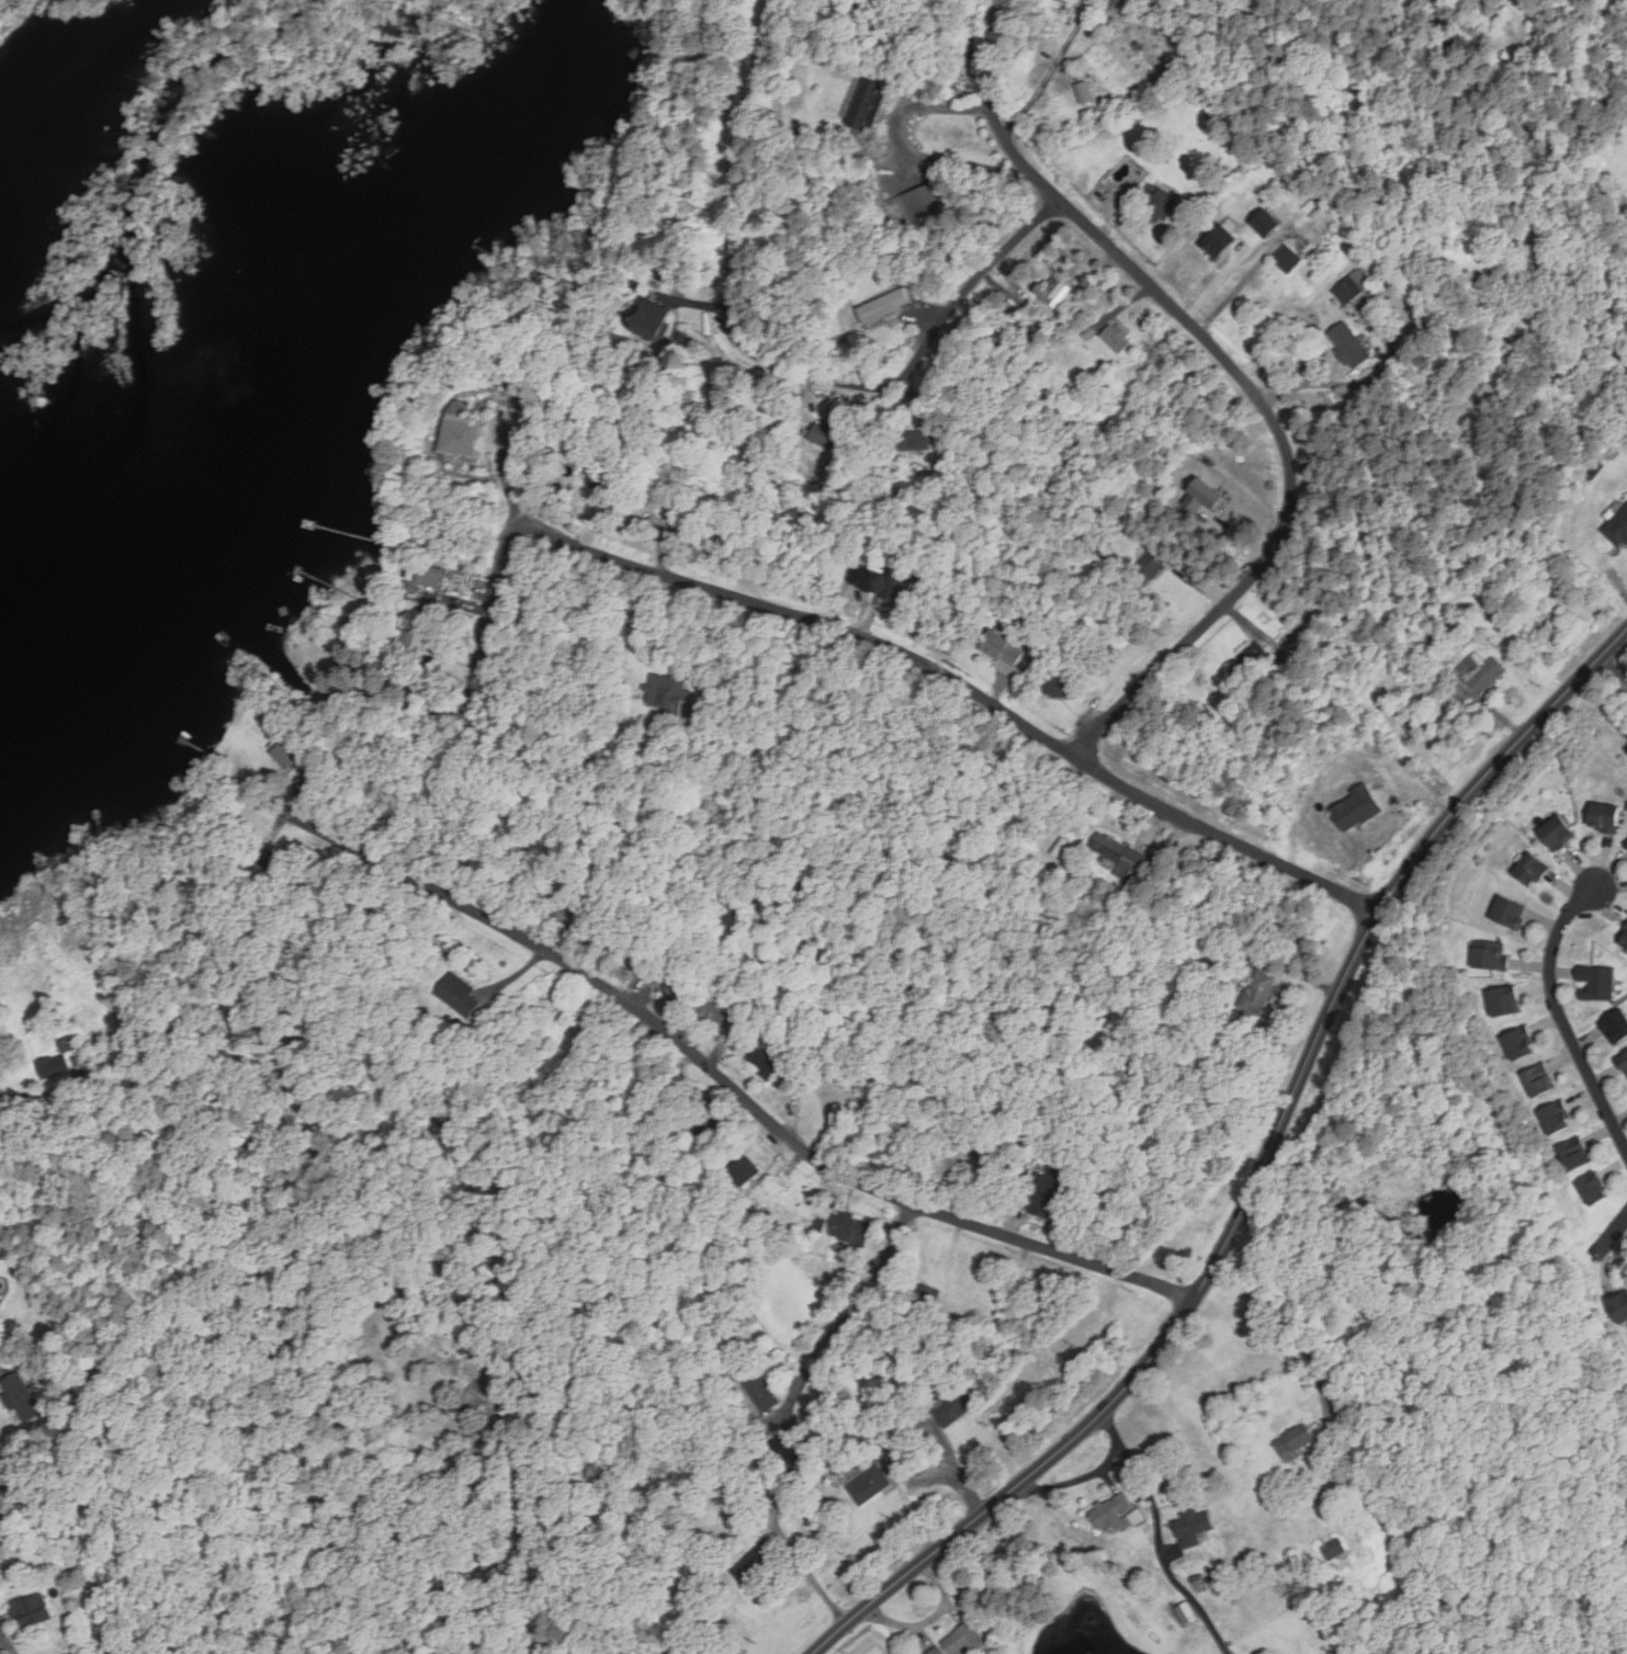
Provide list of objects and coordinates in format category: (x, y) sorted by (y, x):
building: (1119, 5)
road: (1051, 68)
building: (1197, 92)
building: (867, 103)
road: (900, 151)
building: (923, 201)
building: (1164, 204)
building: (1259, 223)
building: (1214, 240)
building: (1288, 258)
building: (1352, 286)
road: (1236, 291)
building: (1046, 292)
building: (882, 308)
building: (652, 319)
building: (1515, 320)
building: (1117, 337)
building: (1348, 344)
road: (767, 364)
road: (1243, 377)
road: (1317, 384)
building: (460, 434)
building: (825, 435)
building: (912, 440)
building: (602, 480)
building: (1618, 530)
building: (1151, 564)
road: (498, 573)
building: (426, 575)
building: (892, 586)
building: (420, 624)
building: (1002, 648)
building: (1251, 659)
road: (1615, 666)
building: (1481, 671)
road: (956, 683)
building: (1060, 687)
building: (667, 693)
building: (286, 752)
road: (596, 767)
building: (1349, 807)
building: (1604, 817)
building: (1557, 832)
building: (1626, 843)
building: (1119, 854)
building: (1530, 870)
building: (1509, 913)
building: (1624, 941)
building: (1490, 955)
building: (656, 973)
building: (1595, 983)
building: (1258, 992)
building: (459, 993)
building: (1502, 1001)
building: (711, 1013)
road: (1559, 1016)
building: (1616, 1027)
building: (1516, 1044)
building: (768, 1060)
building: (1624, 1063)
building: (49, 1065)
road: (713, 1070)
building: (1536, 1080)
road: (22, 1099)
building: (1553, 1119)
building: (709, 1126)
building: (1572, 1154)
building: (744, 1168)
road: (1259, 1175)
building: (1043, 1189)
building: (1592, 1189)
building: (850, 1226)
building: (811, 1228)
road: (1611, 1234)
building: (1618, 1304)
road: (854, 1306)
road: (1279, 1321)
building: (760, 1389)
building: (15, 1396)
building: (958, 1403)
building: (1293, 1441)
road: (1120, 1464)
building: (894, 1466)
road: (952, 1470)
road: (1092, 1474)
building: (870, 1485)
building: (1111, 1513)
building: (1131, 1518)
building: (1194, 1525)
road: (423, 1537)
road: (1161, 1551)
building: (1335, 1552)
building: (756, 1561)
road: (814, 1579)
building: (26, 1610)
building: (1182, 1612)
building: (963, 1640)
road: (8, 1642)
building: (683, 1651)
building: (935, 1651)

